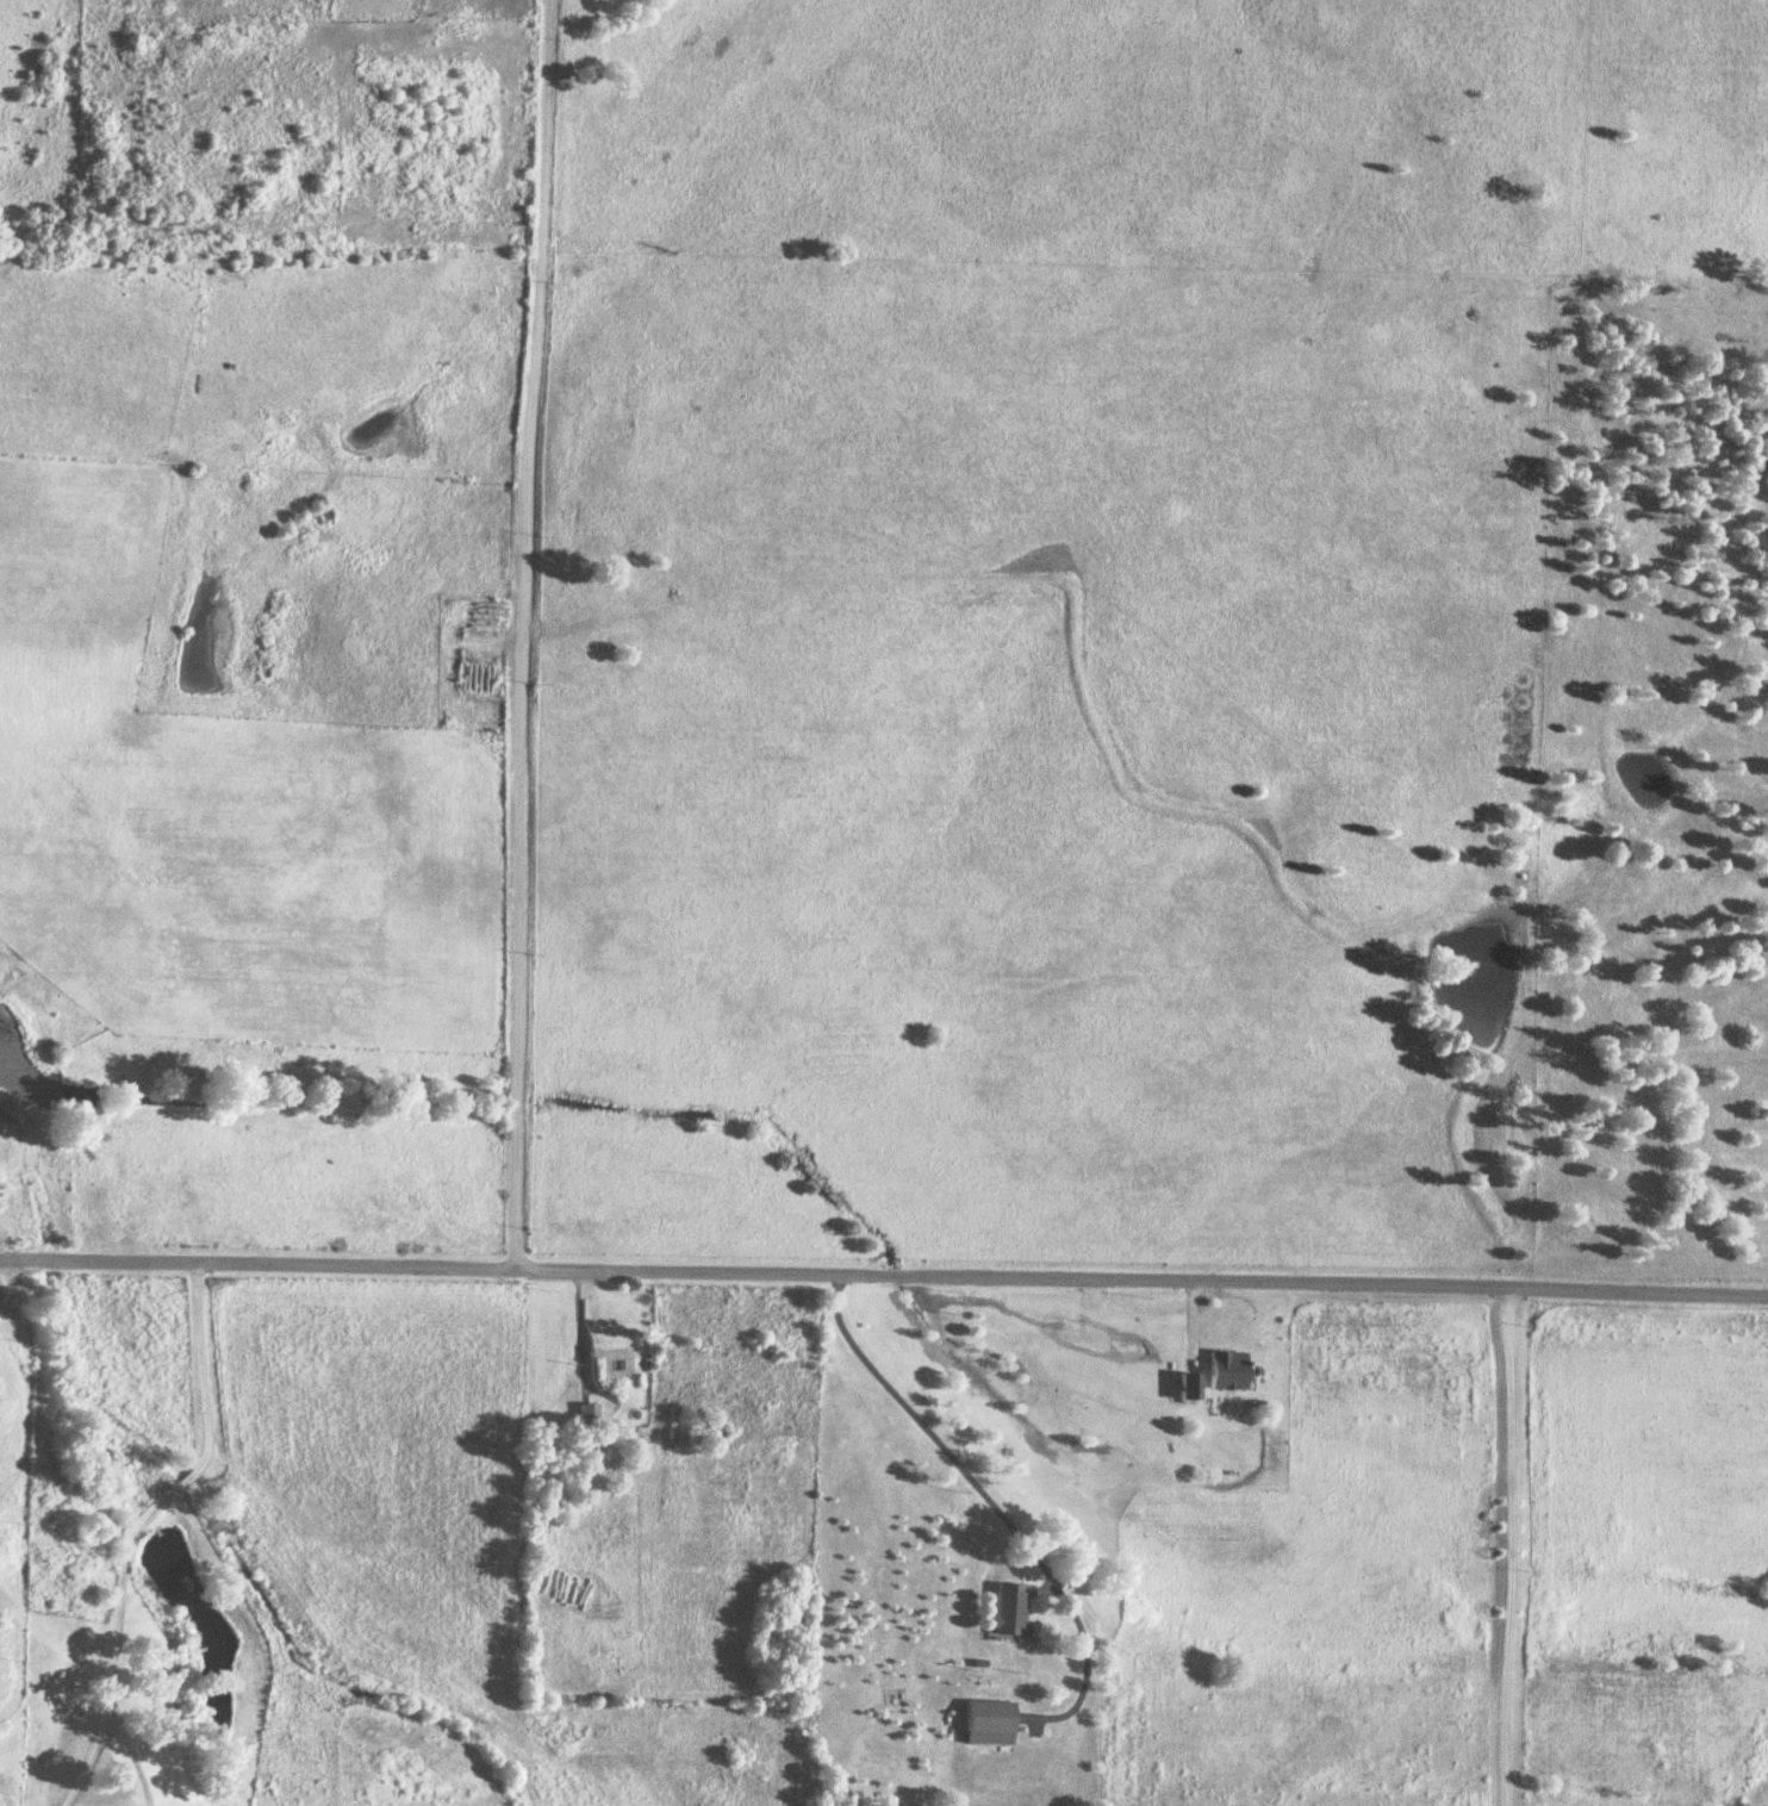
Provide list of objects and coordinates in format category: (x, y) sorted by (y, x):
road: (515, 635)
road: (884, 1279)
building: (1216, 1371)
building: (1178, 1388)
building: (583, 1413)
road: (992, 1503)
road: (130, 1530)
road: (1506, 1549)
building: (1006, 1612)
building: (979, 1723)

